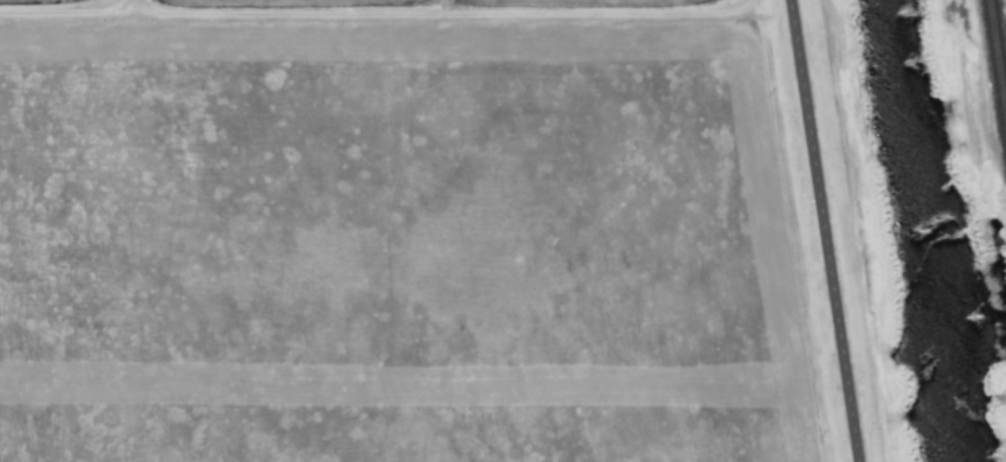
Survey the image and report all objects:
railway: (999, 42)
road: (823, 231)
power tower: (959, 402)

